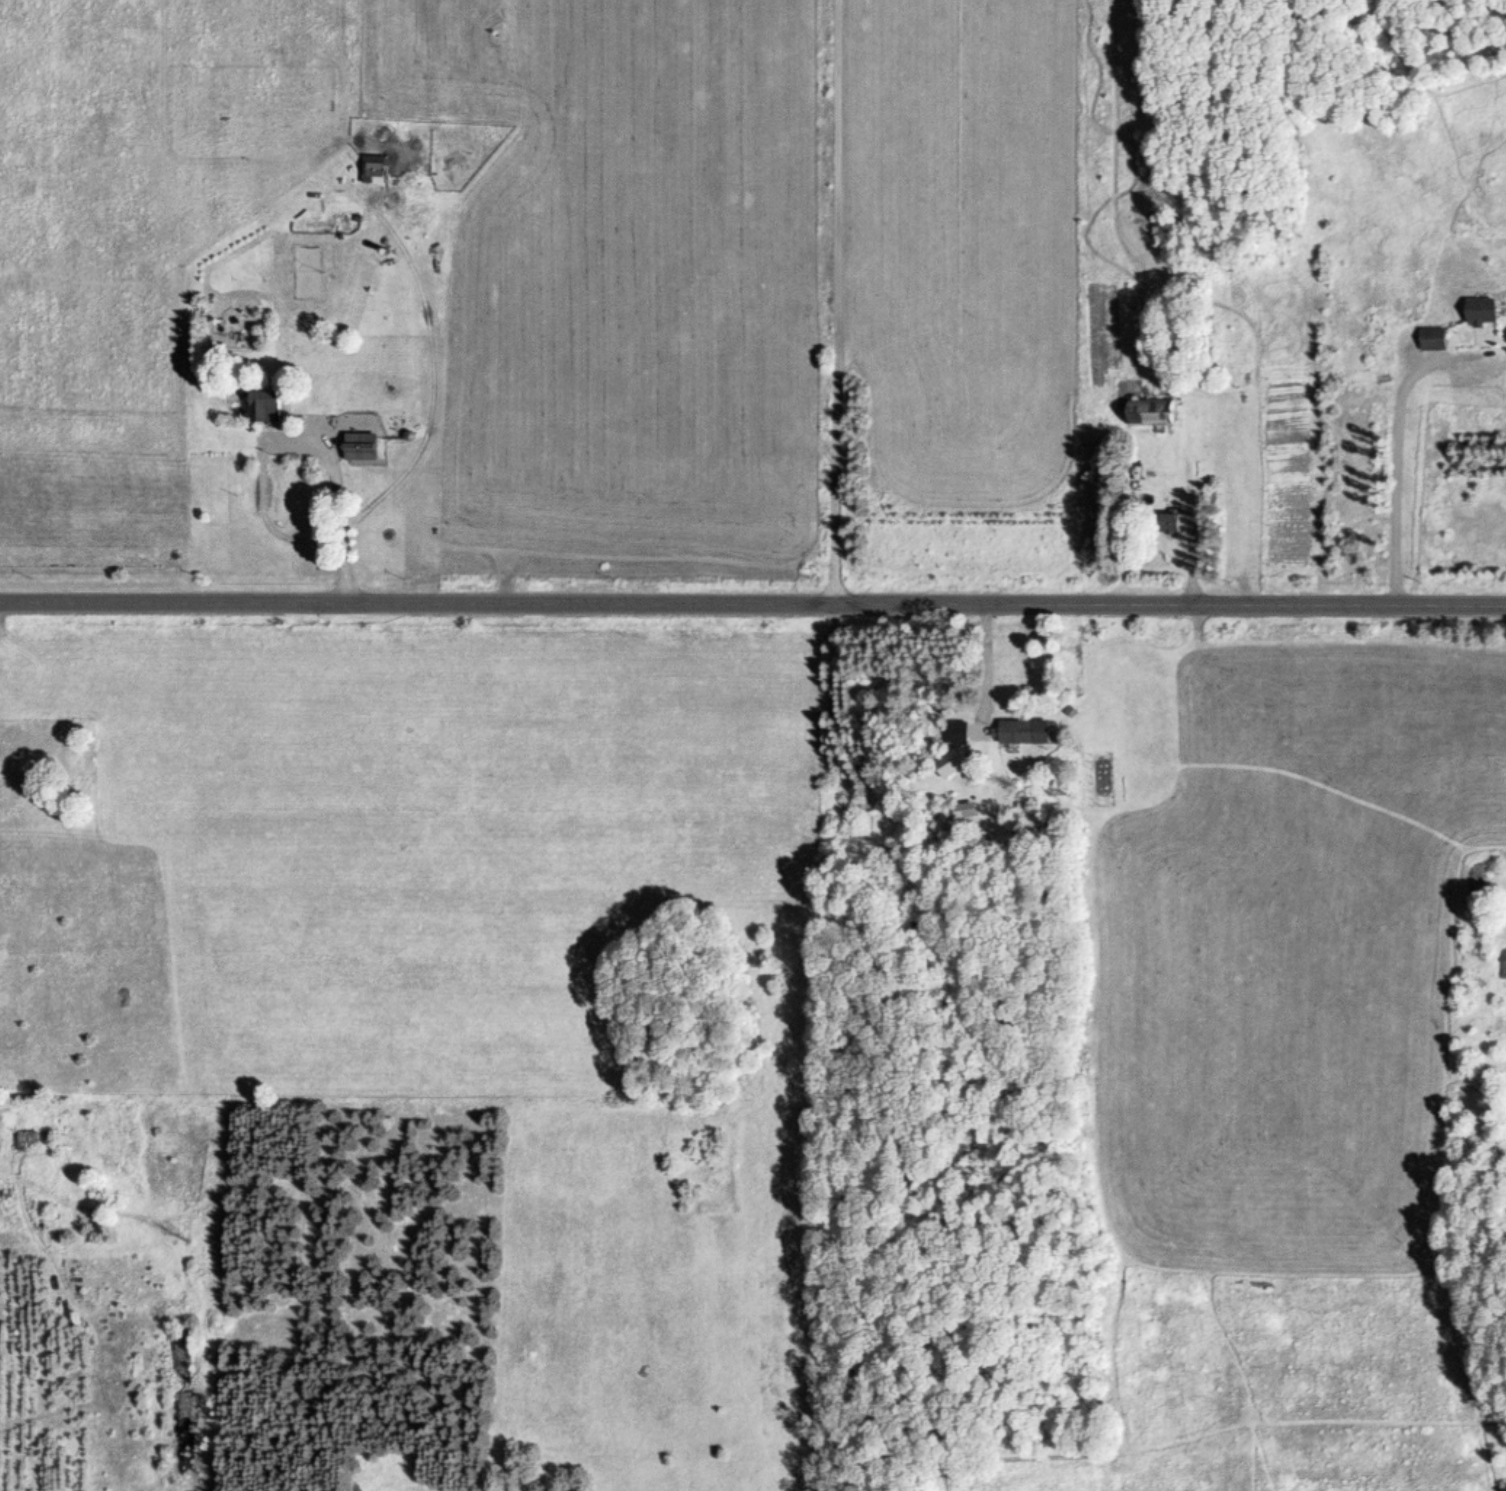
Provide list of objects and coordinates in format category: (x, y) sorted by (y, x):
building: (1477, 314)
building: (1430, 342)
building: (260, 412)
building: (1145, 414)
building: (356, 441)
building: (1167, 525)
road: (753, 605)
building: (1021, 732)
building: (950, 768)
building: (959, 814)

